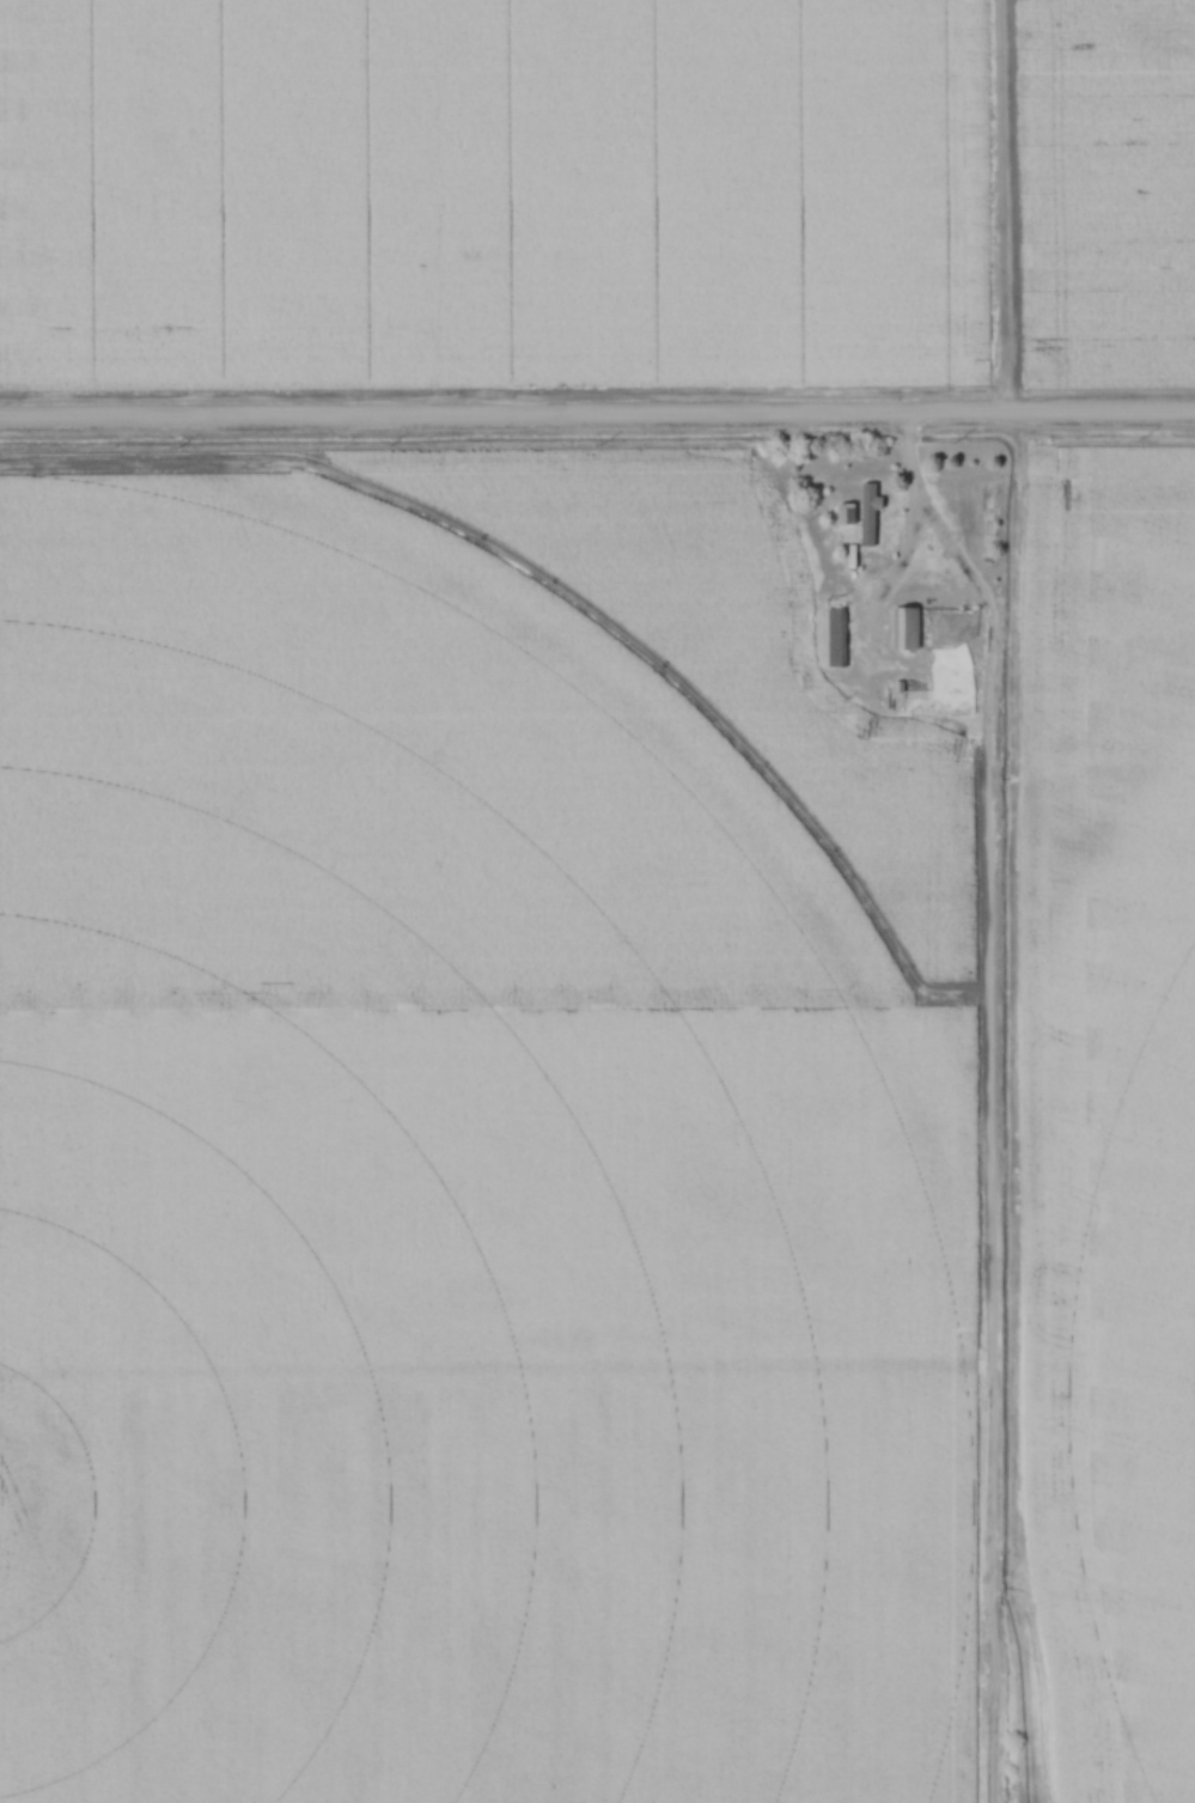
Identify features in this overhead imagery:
road: (1005, 206)
road: (597, 416)
building: (847, 516)
building: (868, 516)
road: (909, 542)
building: (906, 629)
building: (837, 638)

